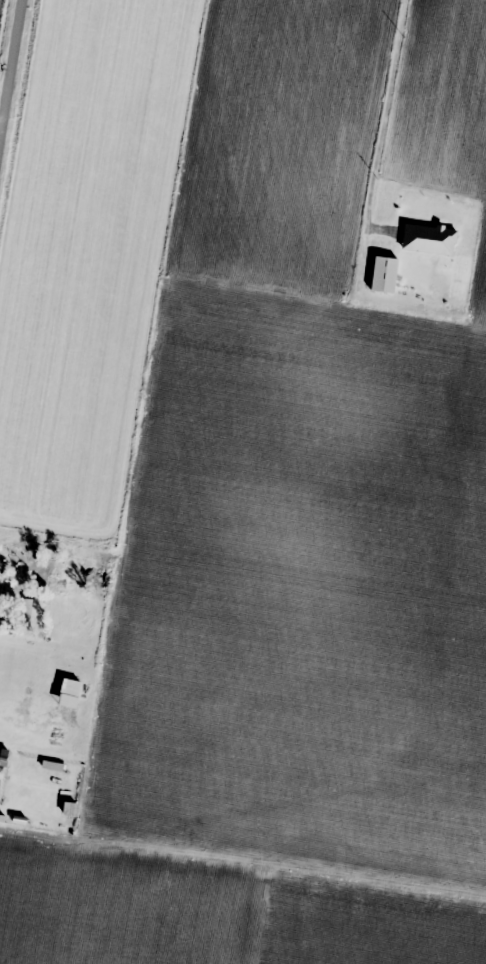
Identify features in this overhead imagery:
road: (10, 66)
building: (427, 238)
building: (381, 273)
building: (0, 565)
building: (71, 809)

